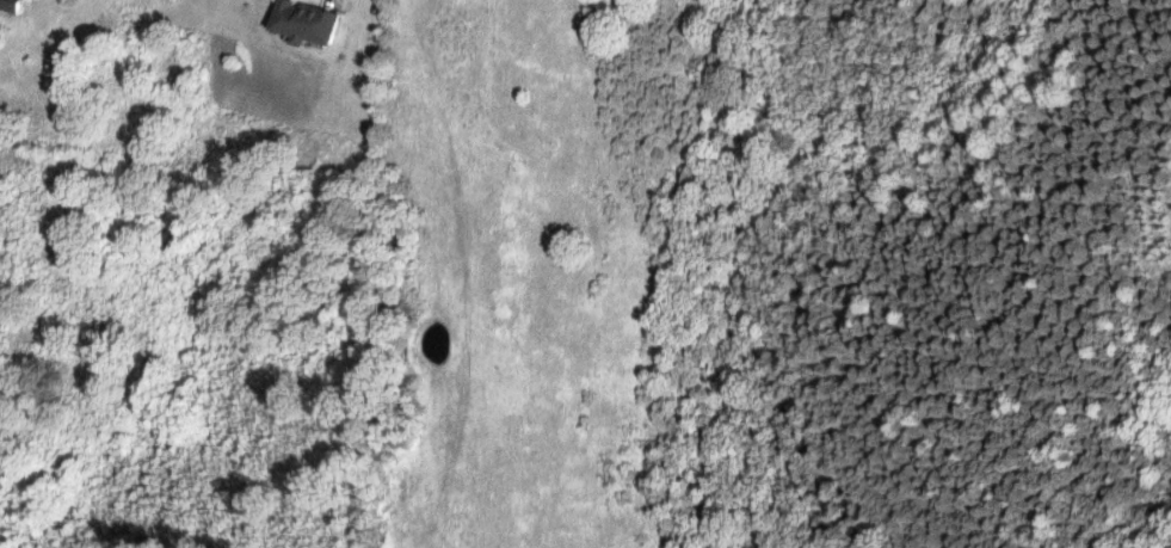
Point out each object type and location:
building: (11, 5)
building: (303, 23)

